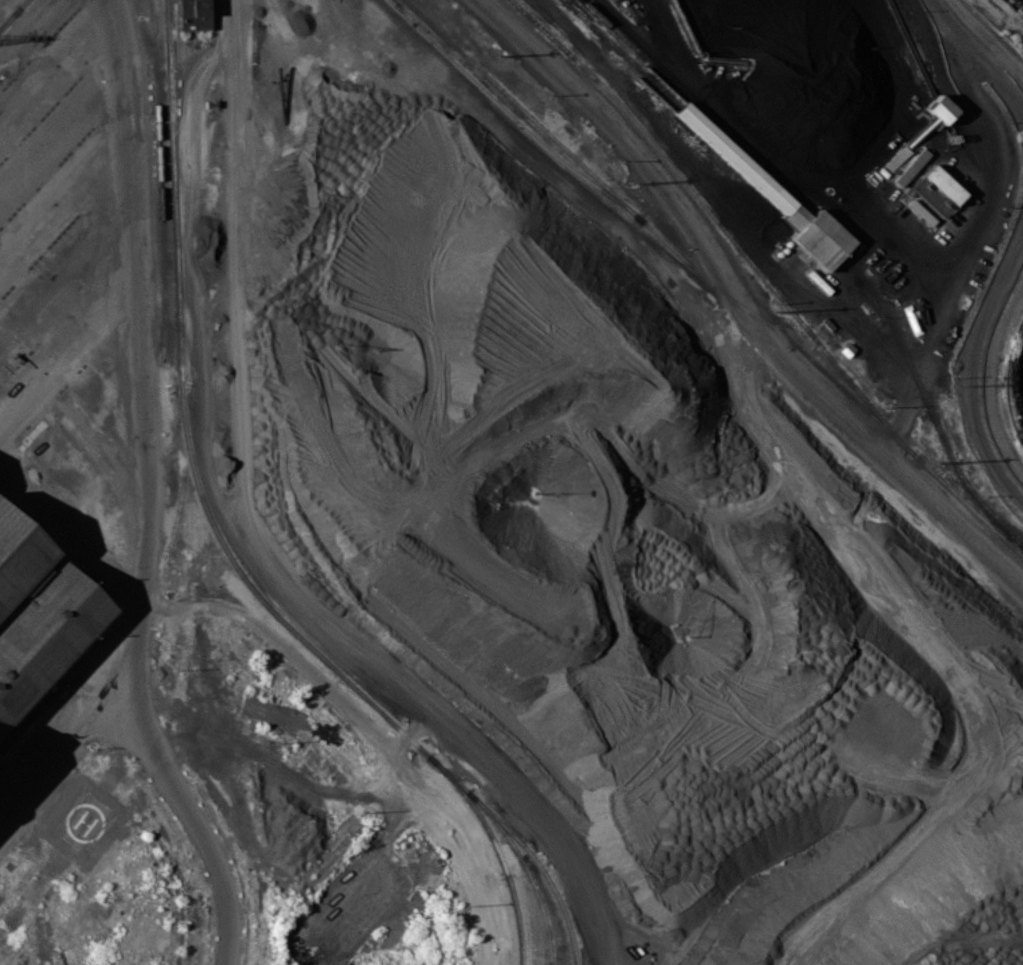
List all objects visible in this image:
railway: (13, 14)
building: (193, 14)
railway: (10, 16)
road: (979, 50)
railway: (621, 53)
railway: (156, 55)
railway: (168, 58)
railway: (177, 63)
road: (54, 70)
railway: (691, 101)
building: (935, 107)
railway: (180, 109)
railway: (510, 115)
road: (792, 153)
building: (895, 158)
building: (910, 167)
railway: (758, 181)
building: (941, 183)
road: (62, 196)
building: (775, 197)
railway: (716, 221)
road: (684, 225)
railway: (162, 237)
railway: (175, 250)
railway: (710, 282)
road: (934, 341)
road: (975, 368)
railway: (926, 402)
railway: (198, 486)
road: (136, 492)
road: (67, 523)
road: (272, 546)
building: (38, 618)
railway: (323, 659)
road: (75, 745)
railway: (483, 822)
railway: (512, 835)
railway: (513, 847)
railway: (517, 934)
railway: (547, 939)

